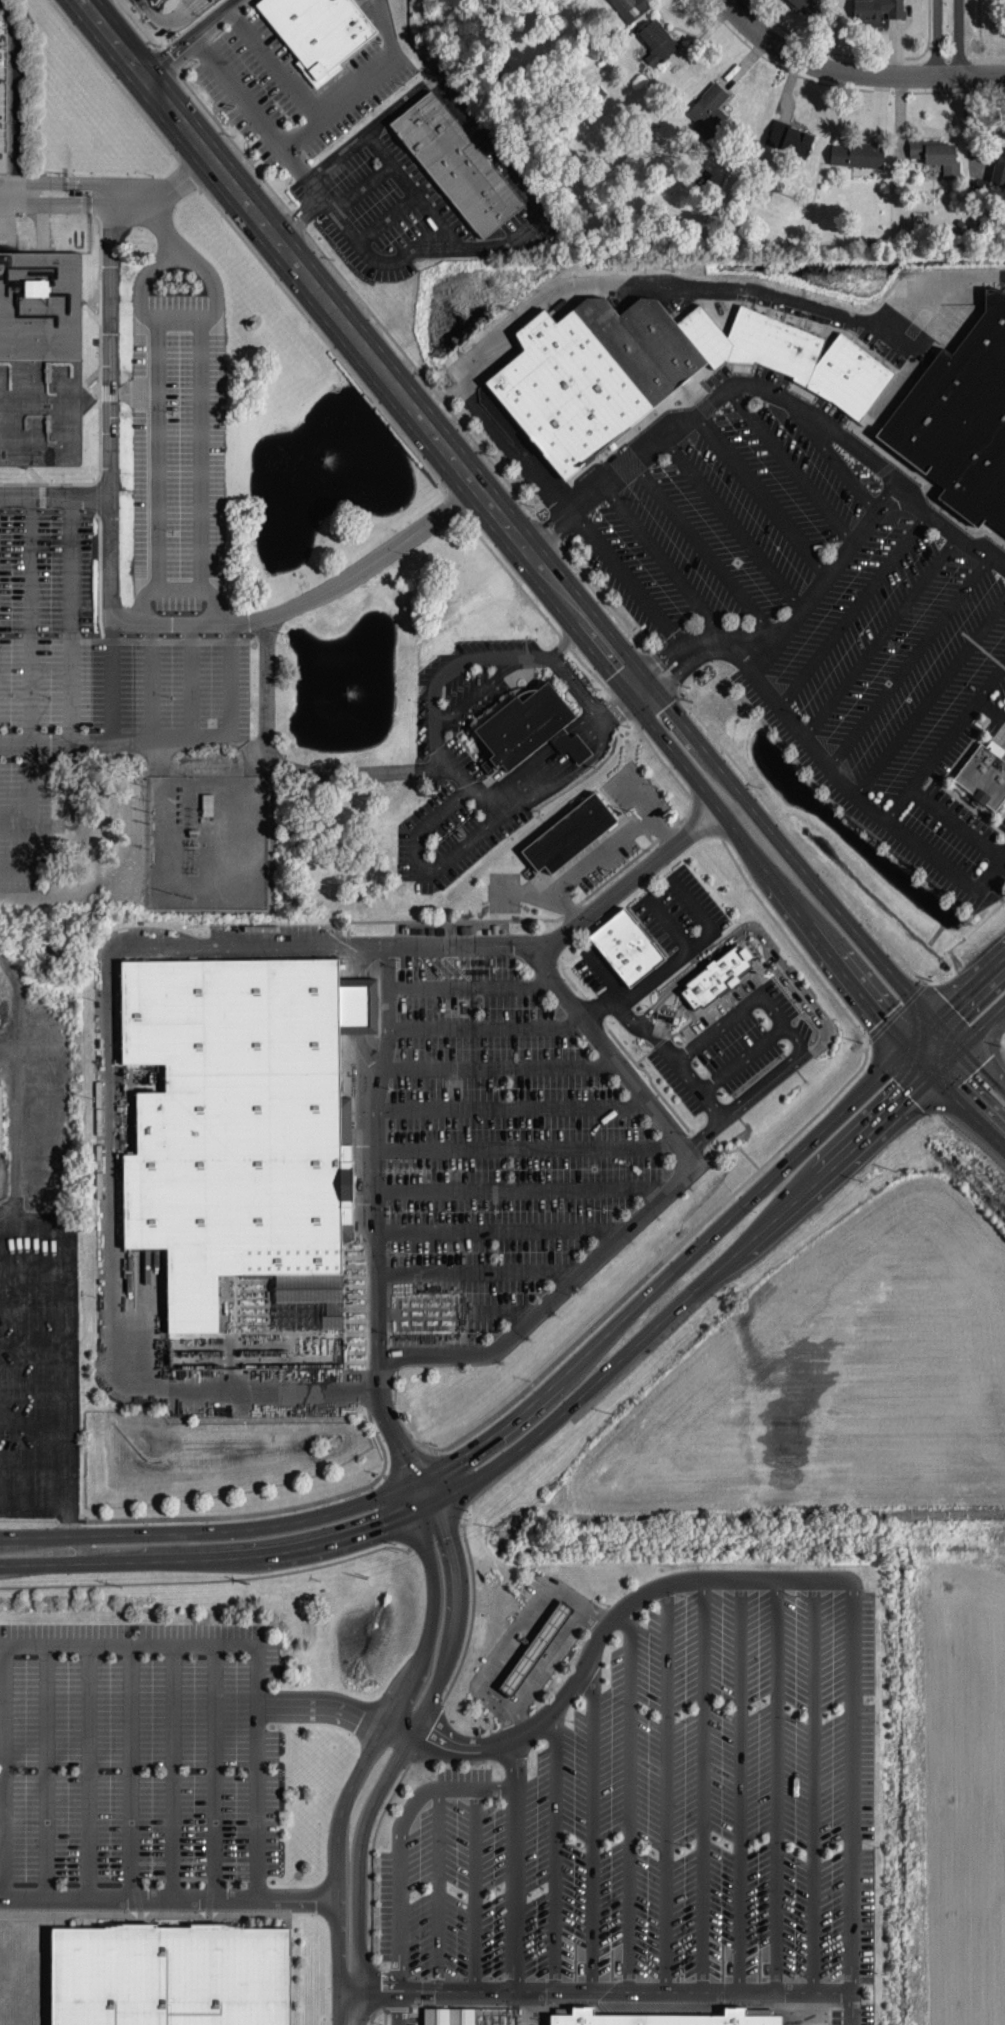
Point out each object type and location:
building: (220, 0)
building: (801, 5)
building: (629, 8)
building: (878, 13)
building: (319, 31)
road: (192, 37)
road: (938, 40)
road: (959, 40)
building: (656, 44)
road: (854, 73)
road: (251, 107)
road: (325, 114)
road: (302, 134)
building: (857, 156)
building: (939, 159)
building: (455, 164)
building: (1000, 169)
road: (363, 189)
road: (412, 191)
road: (83, 192)
road: (538, 199)
road: (388, 220)
road: (165, 227)
road: (306, 274)
road: (640, 282)
road: (179, 315)
building: (41, 360)
road: (111, 361)
building: (655, 368)
road: (771, 391)
building: (960, 419)
road: (203, 429)
road: (154, 430)
parking lot: (178, 452)
road: (834, 457)
road: (796, 470)
road: (55, 498)
road: (766, 498)
road: (737, 525)
road: (705, 548)
road: (665, 560)
road: (630, 581)
road: (178, 588)
road: (309, 600)
road: (854, 607)
parking lot: (822, 609)
road: (794, 617)
parking lot: (49, 620)
road: (72, 622)
road: (882, 633)
road: (769, 645)
road: (537, 657)
road: (910, 660)
road: (455, 667)
road: (230, 680)
parking lot: (192, 681)
road: (192, 681)
road: (991, 681)
road: (152, 682)
traffic signals: (639, 684)
road: (267, 686)
road: (575, 686)
road: (32, 690)
road: (478, 691)
road: (930, 697)
building: (532, 725)
road: (115, 744)
road: (248, 745)
road: (942, 745)
road: (440, 749)
road: (549, 764)
road: (358, 772)
building: (983, 776)
road: (853, 791)
road: (475, 792)
road: (730, 800)
road: (957, 823)
parking lot: (25, 825)
building: (570, 833)
road: (603, 853)
road: (419, 863)
road: (15, 883)
road: (681, 923)
road: (465, 944)
building: (627, 945)
road: (775, 945)
road: (695, 949)
building: (719, 977)
road: (474, 986)
road: (755, 1002)
road: (618, 1004)
road: (363, 1010)
road: (969, 1015)
road: (489, 1027)
traffic signals: (933, 1050)
road: (751, 1056)
road: (500, 1065)
road: (968, 1088)
road: (514, 1106)
building: (1, 1117)
building: (241, 1125)
parking lot: (487, 1137)
road: (529, 1146)
road: (380, 1149)
road: (108, 1161)
road: (682, 1177)
road: (526, 1188)
road: (504, 1228)
road: (481, 1270)
road: (684, 1283)
road: (459, 1311)
road: (67, 1356)
traffic signals: (424, 1503)
road: (788, 1514)
road: (215, 1547)
road: (205, 1581)
road: (605, 1630)
road: (514, 1632)
road: (130, 1645)
building: (536, 1646)
gas station: (536, 1646)
road: (547, 1661)
road: (330, 1703)
parking lot: (141, 1750)
road: (382, 1757)
road: (216, 1769)
road: (47, 1770)
road: (89, 1770)
road: (132, 1770)
road: (173, 1770)
road: (704, 1783)
road: (740, 1783)
road: (777, 1783)
road: (814, 1783)
road: (851, 1783)
road: (667, 1788)
road: (630, 1797)
parking lot: (663, 1812)
road: (593, 1822)
road: (556, 1850)
road: (400, 1857)
road: (516, 1864)
road: (438, 1889)
road: (476, 1889)
road: (175, 1894)
building: (162, 1976)
road: (600, 1991)
road: (850, 2008)
building: (449, 2015)
building: (665, 2015)

